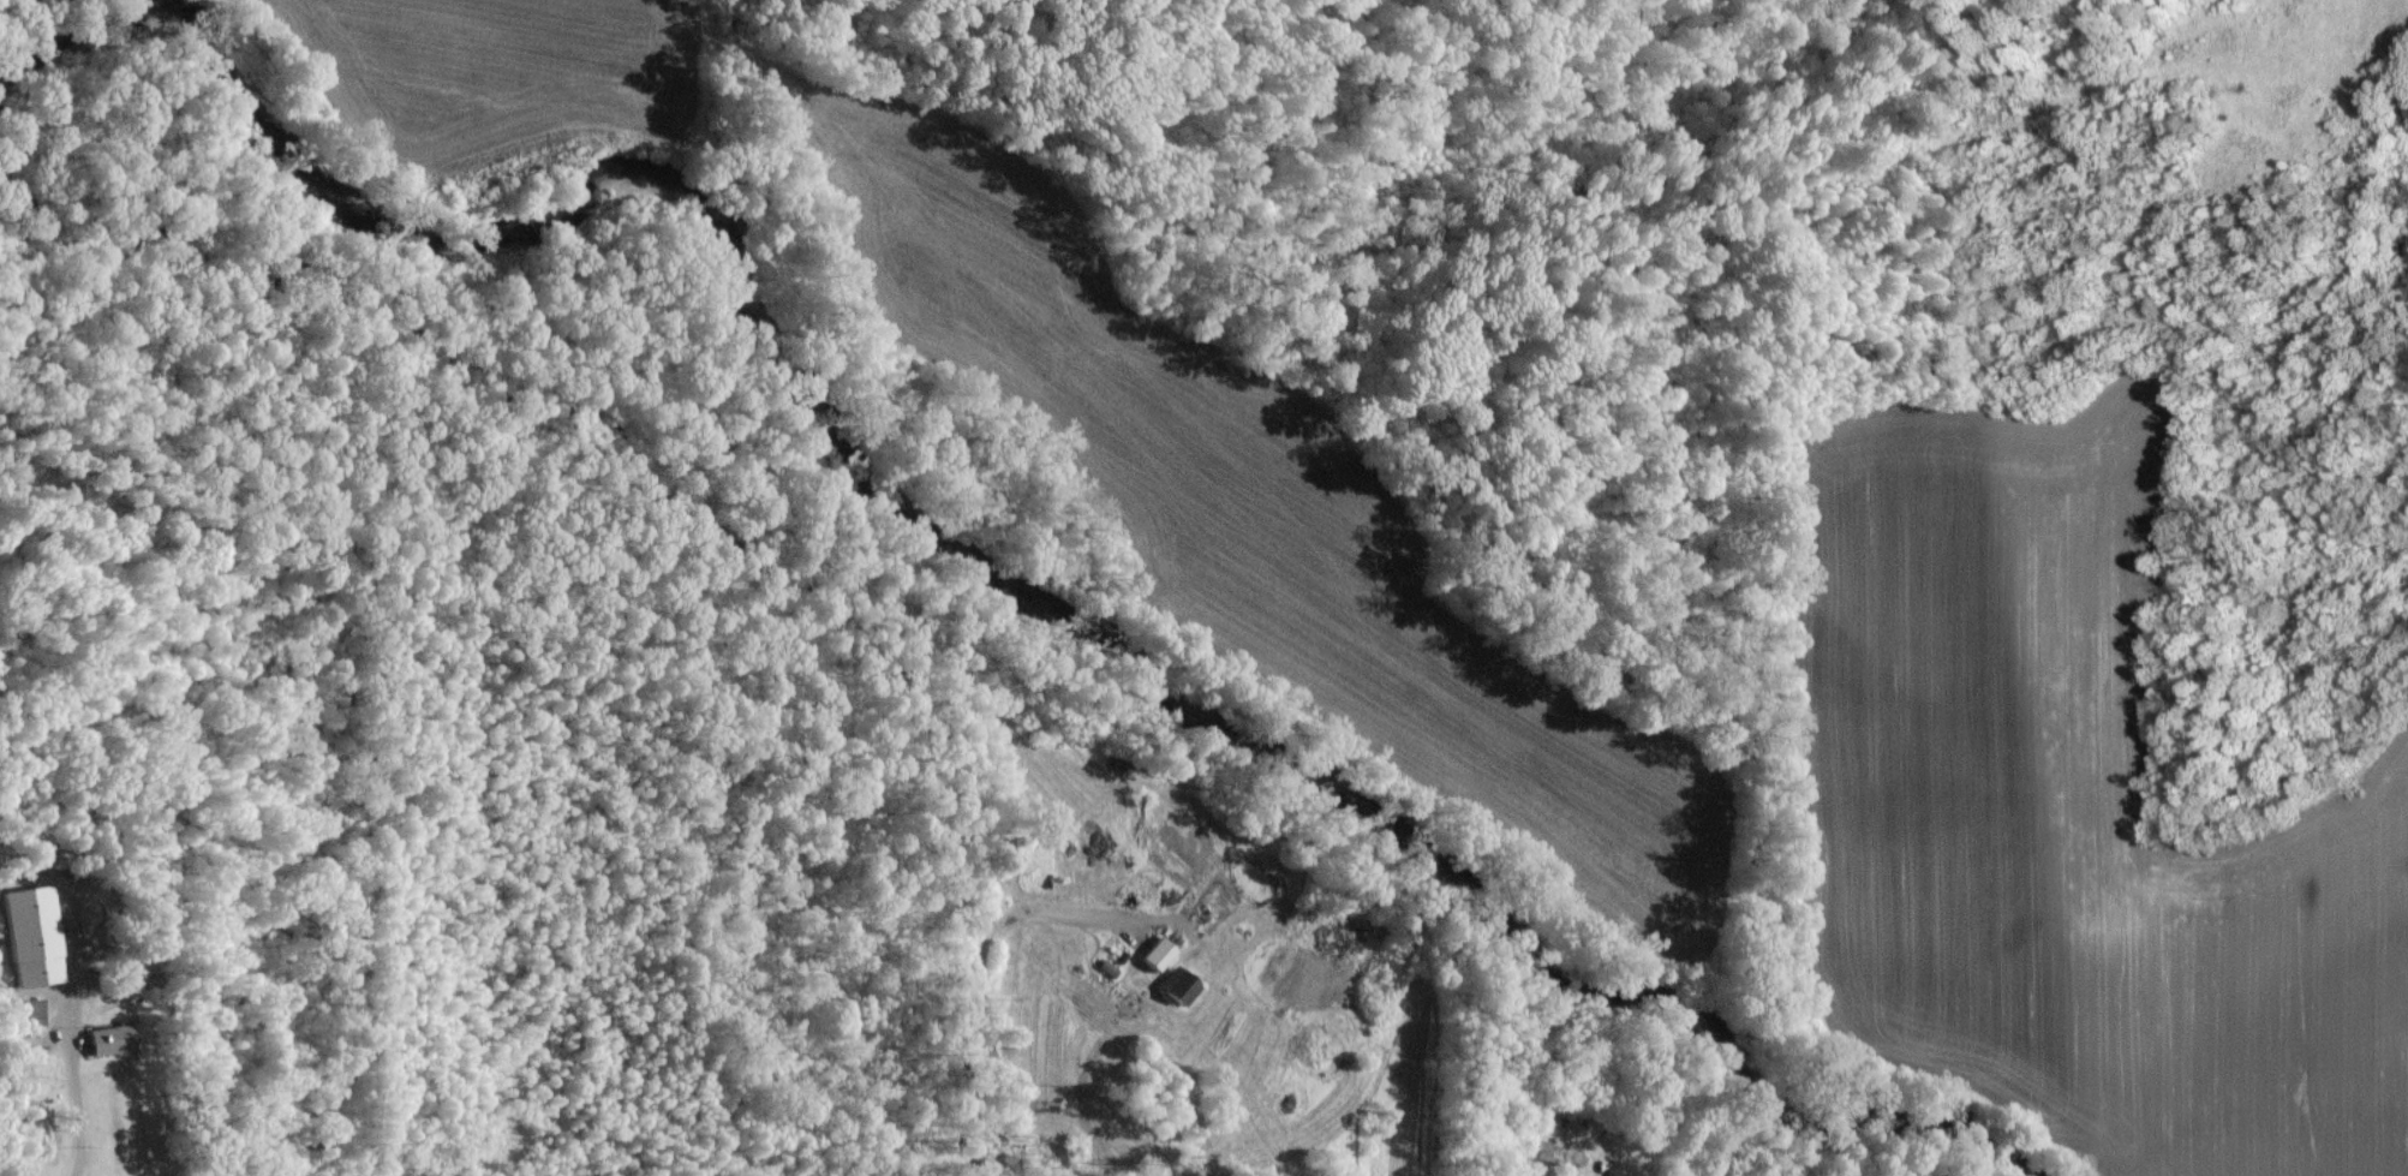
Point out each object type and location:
building: (24, 927)
building: (1152, 953)
road: (979, 957)
building: (1173, 985)
building: (112, 1035)
road: (83, 1094)
road: (1261, 1108)

